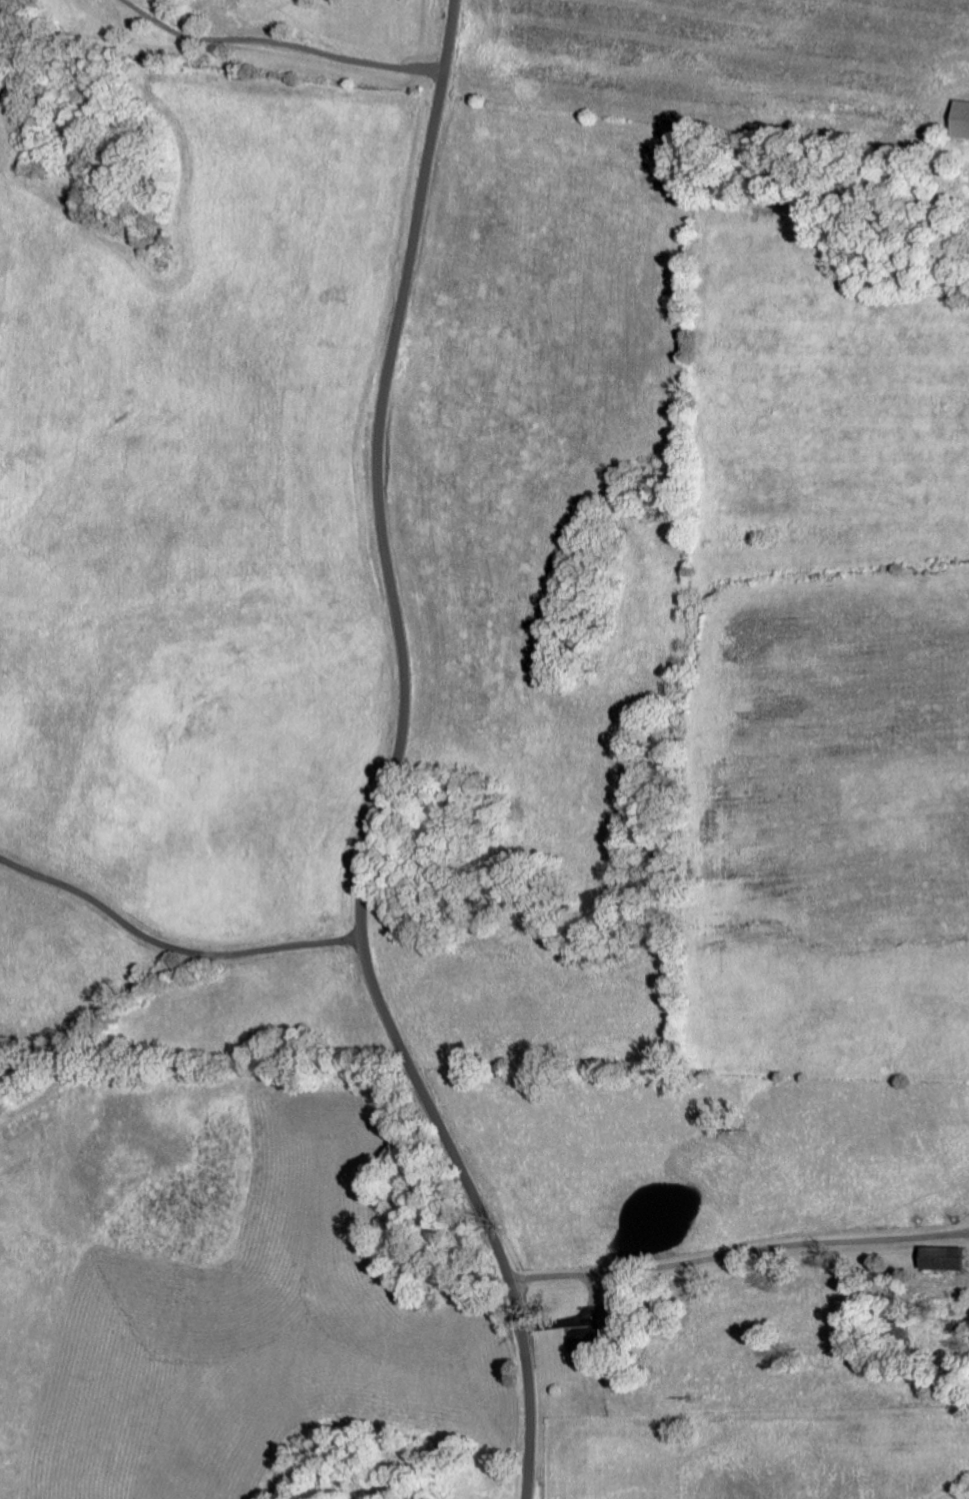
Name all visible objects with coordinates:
building: (961, 119)
road: (395, 763)
road: (173, 948)
road: (742, 1253)
building: (945, 1259)
building: (584, 1347)

